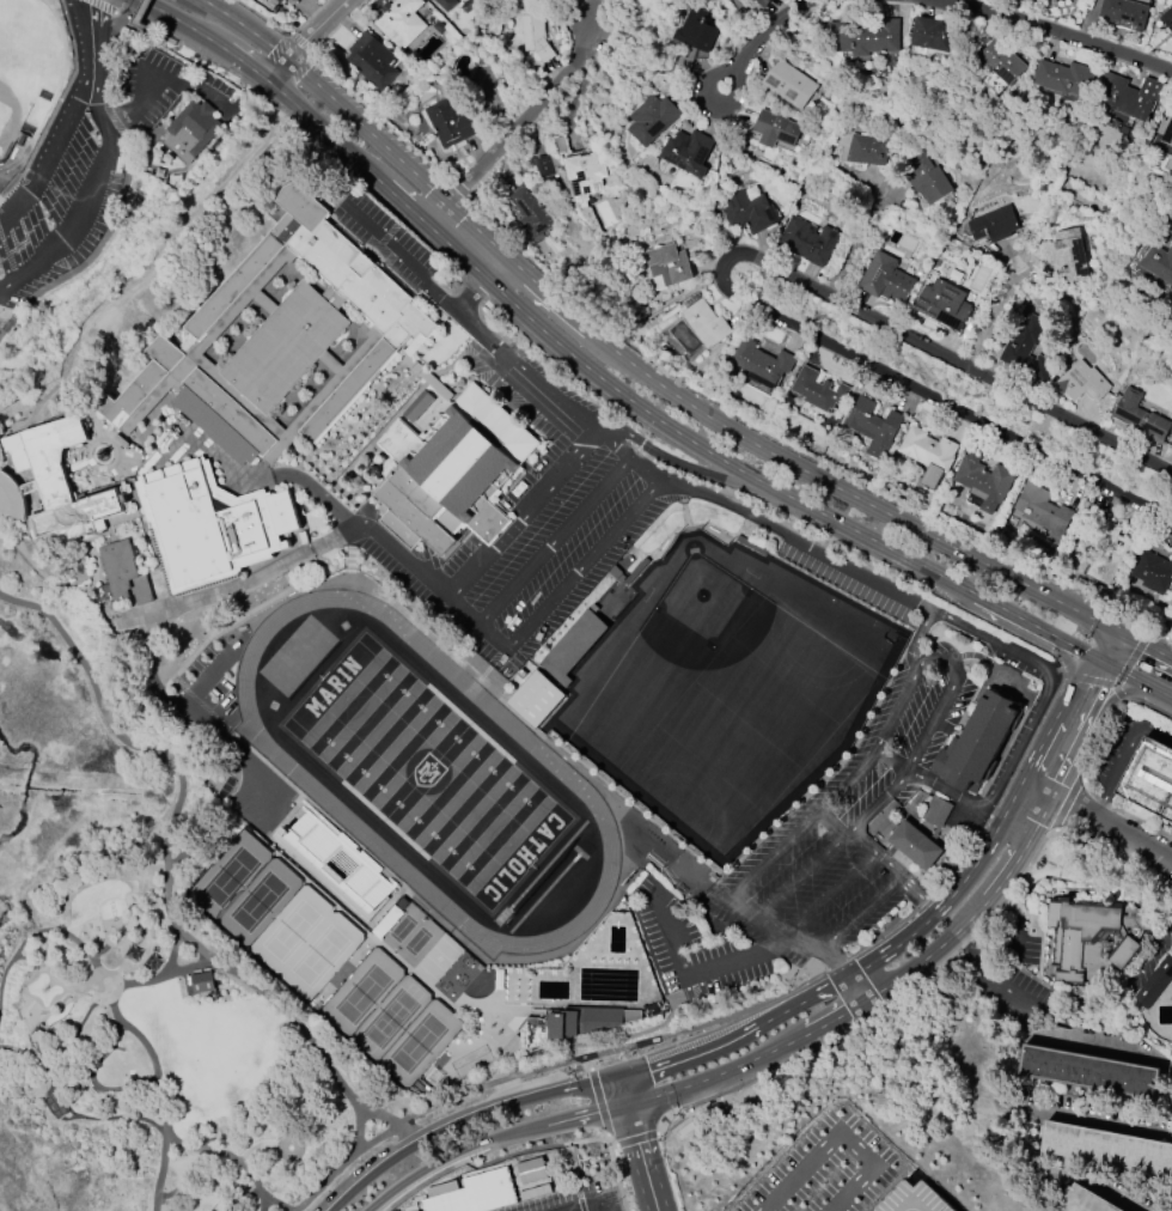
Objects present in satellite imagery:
road: (202, 0)
building: (1046, 0)
building: (279, 1)
building: (762, 2)
building: (446, 5)
road: (140, 10)
building: (1124, 14)
road: (122, 17)
road: (170, 17)
building: (1167, 18)
road: (138, 20)
building: (399, 22)
road: (248, 29)
road: (315, 29)
road: (1050, 29)
building: (933, 35)
building: (536, 36)
building: (866, 37)
building: (695, 38)
road: (759, 38)
road: (111, 54)
road: (239, 60)
building: (372, 61)
building: (1003, 62)
park: (25, 69)
road: (281, 73)
building: (1063, 78)
building: (791, 84)
road: (147, 85)
building: (488, 85)
building: (1128, 96)
road: (90, 102)
road: (291, 102)
road: (112, 116)
building: (653, 120)
building: (451, 121)
road: (515, 127)
building: (775, 129)
building: (1166, 129)
building: (191, 130)
road: (368, 133)
building: (867, 150)
road: (344, 152)
building: (688, 152)
building: (545, 166)
building: (94, 172)
building: (585, 176)
building: (927, 179)
road: (404, 206)
building: (529, 213)
building: (749, 213)
road: (48, 225)
building: (993, 225)
road: (868, 227)
building: (808, 242)
road: (93, 252)
building: (1068, 254)
road: (401, 260)
building: (1159, 262)
building: (669, 264)
building: (885, 279)
road: (470, 297)
building: (944, 304)
road: (660, 310)
road: (996, 314)
building: (706, 323)
building: (280, 341)
building: (1027, 349)
road: (948, 357)
building: (762, 363)
road: (671, 370)
building: (1082, 382)
building: (818, 390)
road: (933, 398)
road: (580, 416)
building: (1141, 416)
building: (873, 427)
road: (762, 449)
building: (928, 455)
road: (642, 470)
building: (452, 473)
road: (745, 474)
building: (55, 482)
building: (983, 482)
road: (537, 500)
building: (1043, 512)
building: (209, 525)
road: (362, 528)
road: (798, 535)
road: (553, 540)
building: (1109, 553)
building: (1152, 572)
building: (123, 573)
road: (568, 580)
road: (171, 607)
road: (464, 608)
traffic signals: (1119, 633)
road: (915, 641)
road: (1146, 646)
building: (573, 647)
road: (1111, 647)
traffic signals: (1104, 662)
road: (1133, 676)
road: (914, 677)
park: (714, 682)
road: (1046, 682)
road: (1087, 693)
road: (1112, 694)
road: (1166, 694)
building: (535, 699)
road: (109, 720)
building: (981, 740)
road: (1123, 753)
road: (244, 754)
road: (1054, 756)
road: (893, 759)
track: (553, 765)
park: (427, 772)
building: (1149, 778)
road: (946, 791)
road: (881, 799)
road: (989, 817)
road: (1104, 823)
road: (831, 824)
building: (923, 835)
road: (860, 836)
road: (773, 852)
building: (338, 864)
road: (887, 864)
park: (230, 877)
road: (801, 877)
road: (79, 882)
road: (831, 893)
road: (917, 894)
park: (258, 902)
road: (860, 912)
park: (402, 929)
park: (291, 931)
building: (1091, 935)
road: (802, 941)
park: (416, 942)
road: (17, 949)
road: (1147, 951)
park: (319, 956)
park: (138, 961)
road: (696, 972)
building: (201, 982)
building: (1154, 984)
road: (990, 987)
park: (362, 994)
road: (1023, 997)
park: (390, 1018)
road: (831, 1021)
building: (570, 1024)
road: (1111, 1042)
park: (417, 1043)
road: (713, 1043)
road: (25, 1053)
building: (1088, 1071)
road: (91, 1085)
road: (1094, 1114)
road: (1170, 1116)
road: (83, 1118)
road: (840, 1133)
road: (637, 1143)
building: (1106, 1148)
road: (441, 1158)
road: (338, 1164)
building: (492, 1188)
building: (914, 1198)
building: (1086, 1200)
road: (586, 1206)

